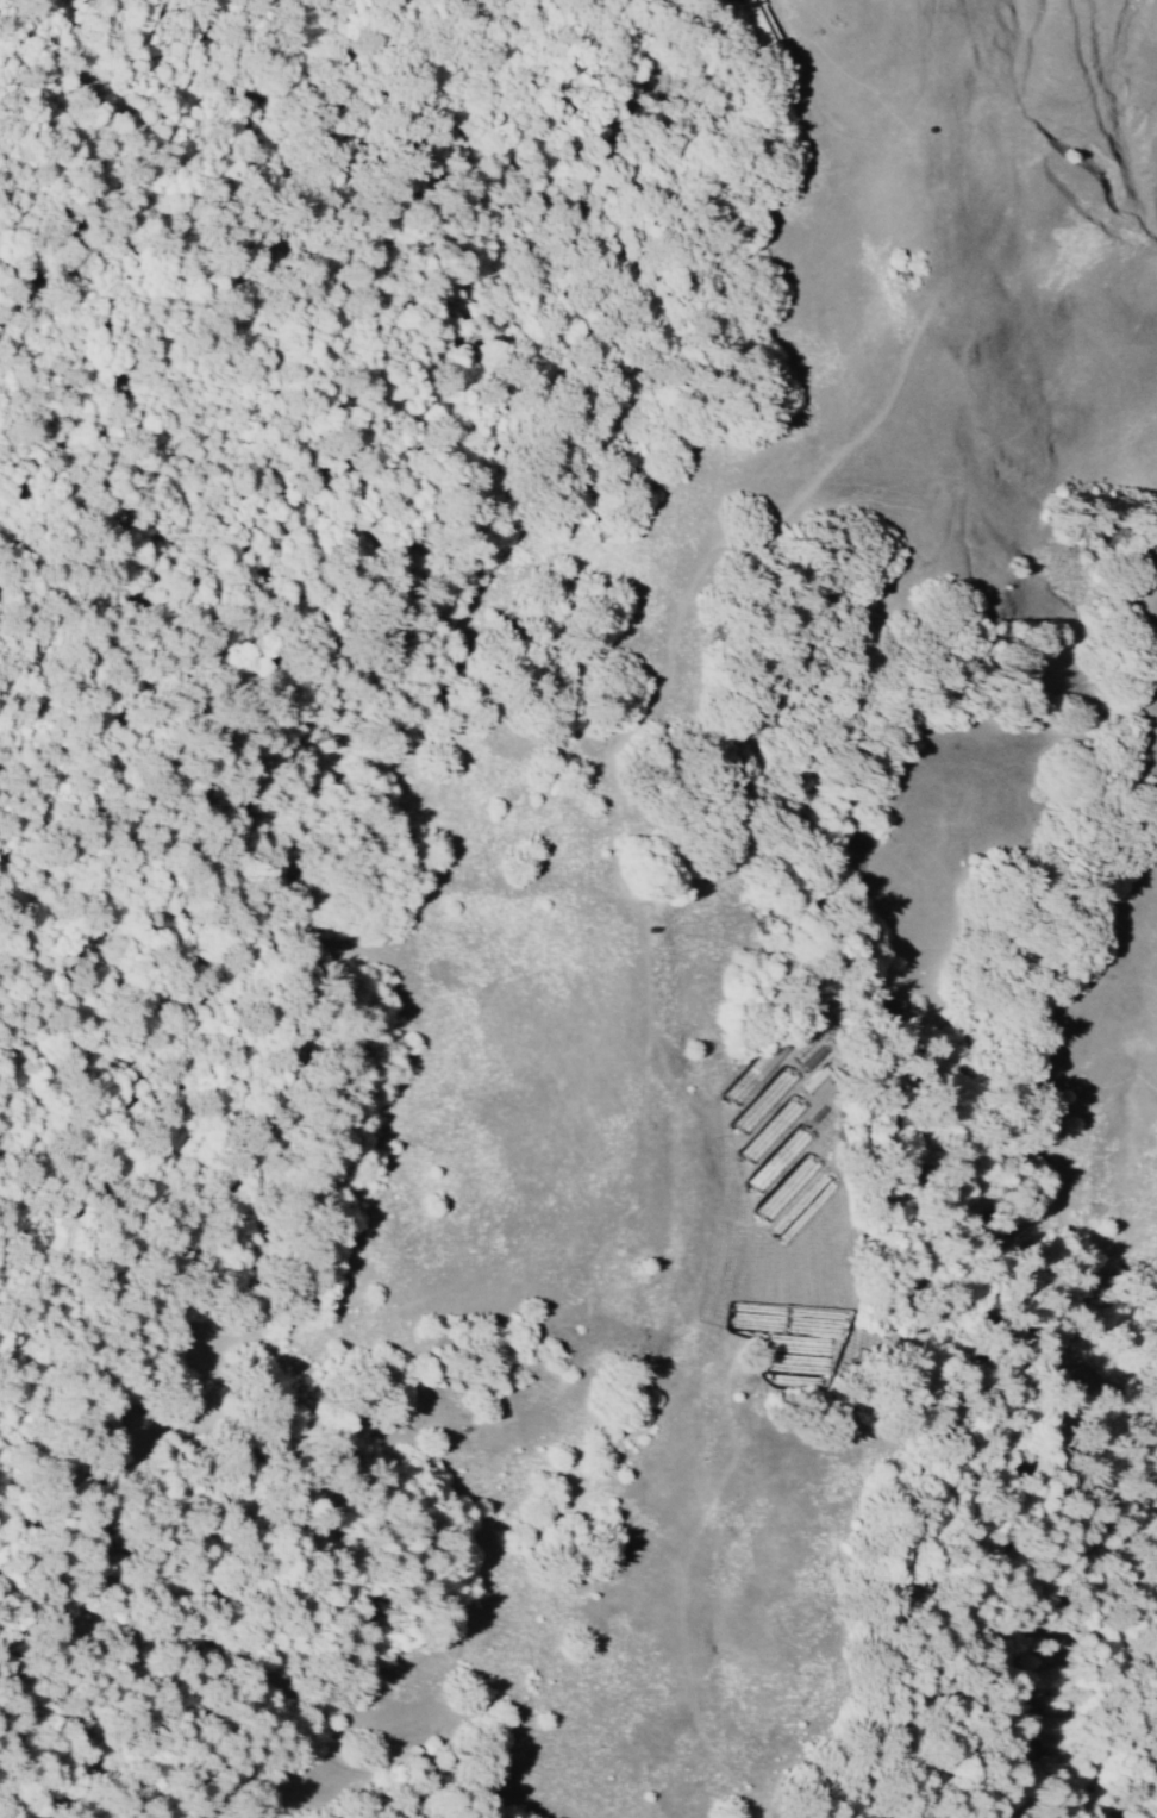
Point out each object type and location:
building: (752, 1075)
building: (764, 1100)
building: (773, 1129)
building: (780, 1158)
building: (787, 1187)
road: (280, 1674)
road: (80, 1724)
road: (1020, 1753)

